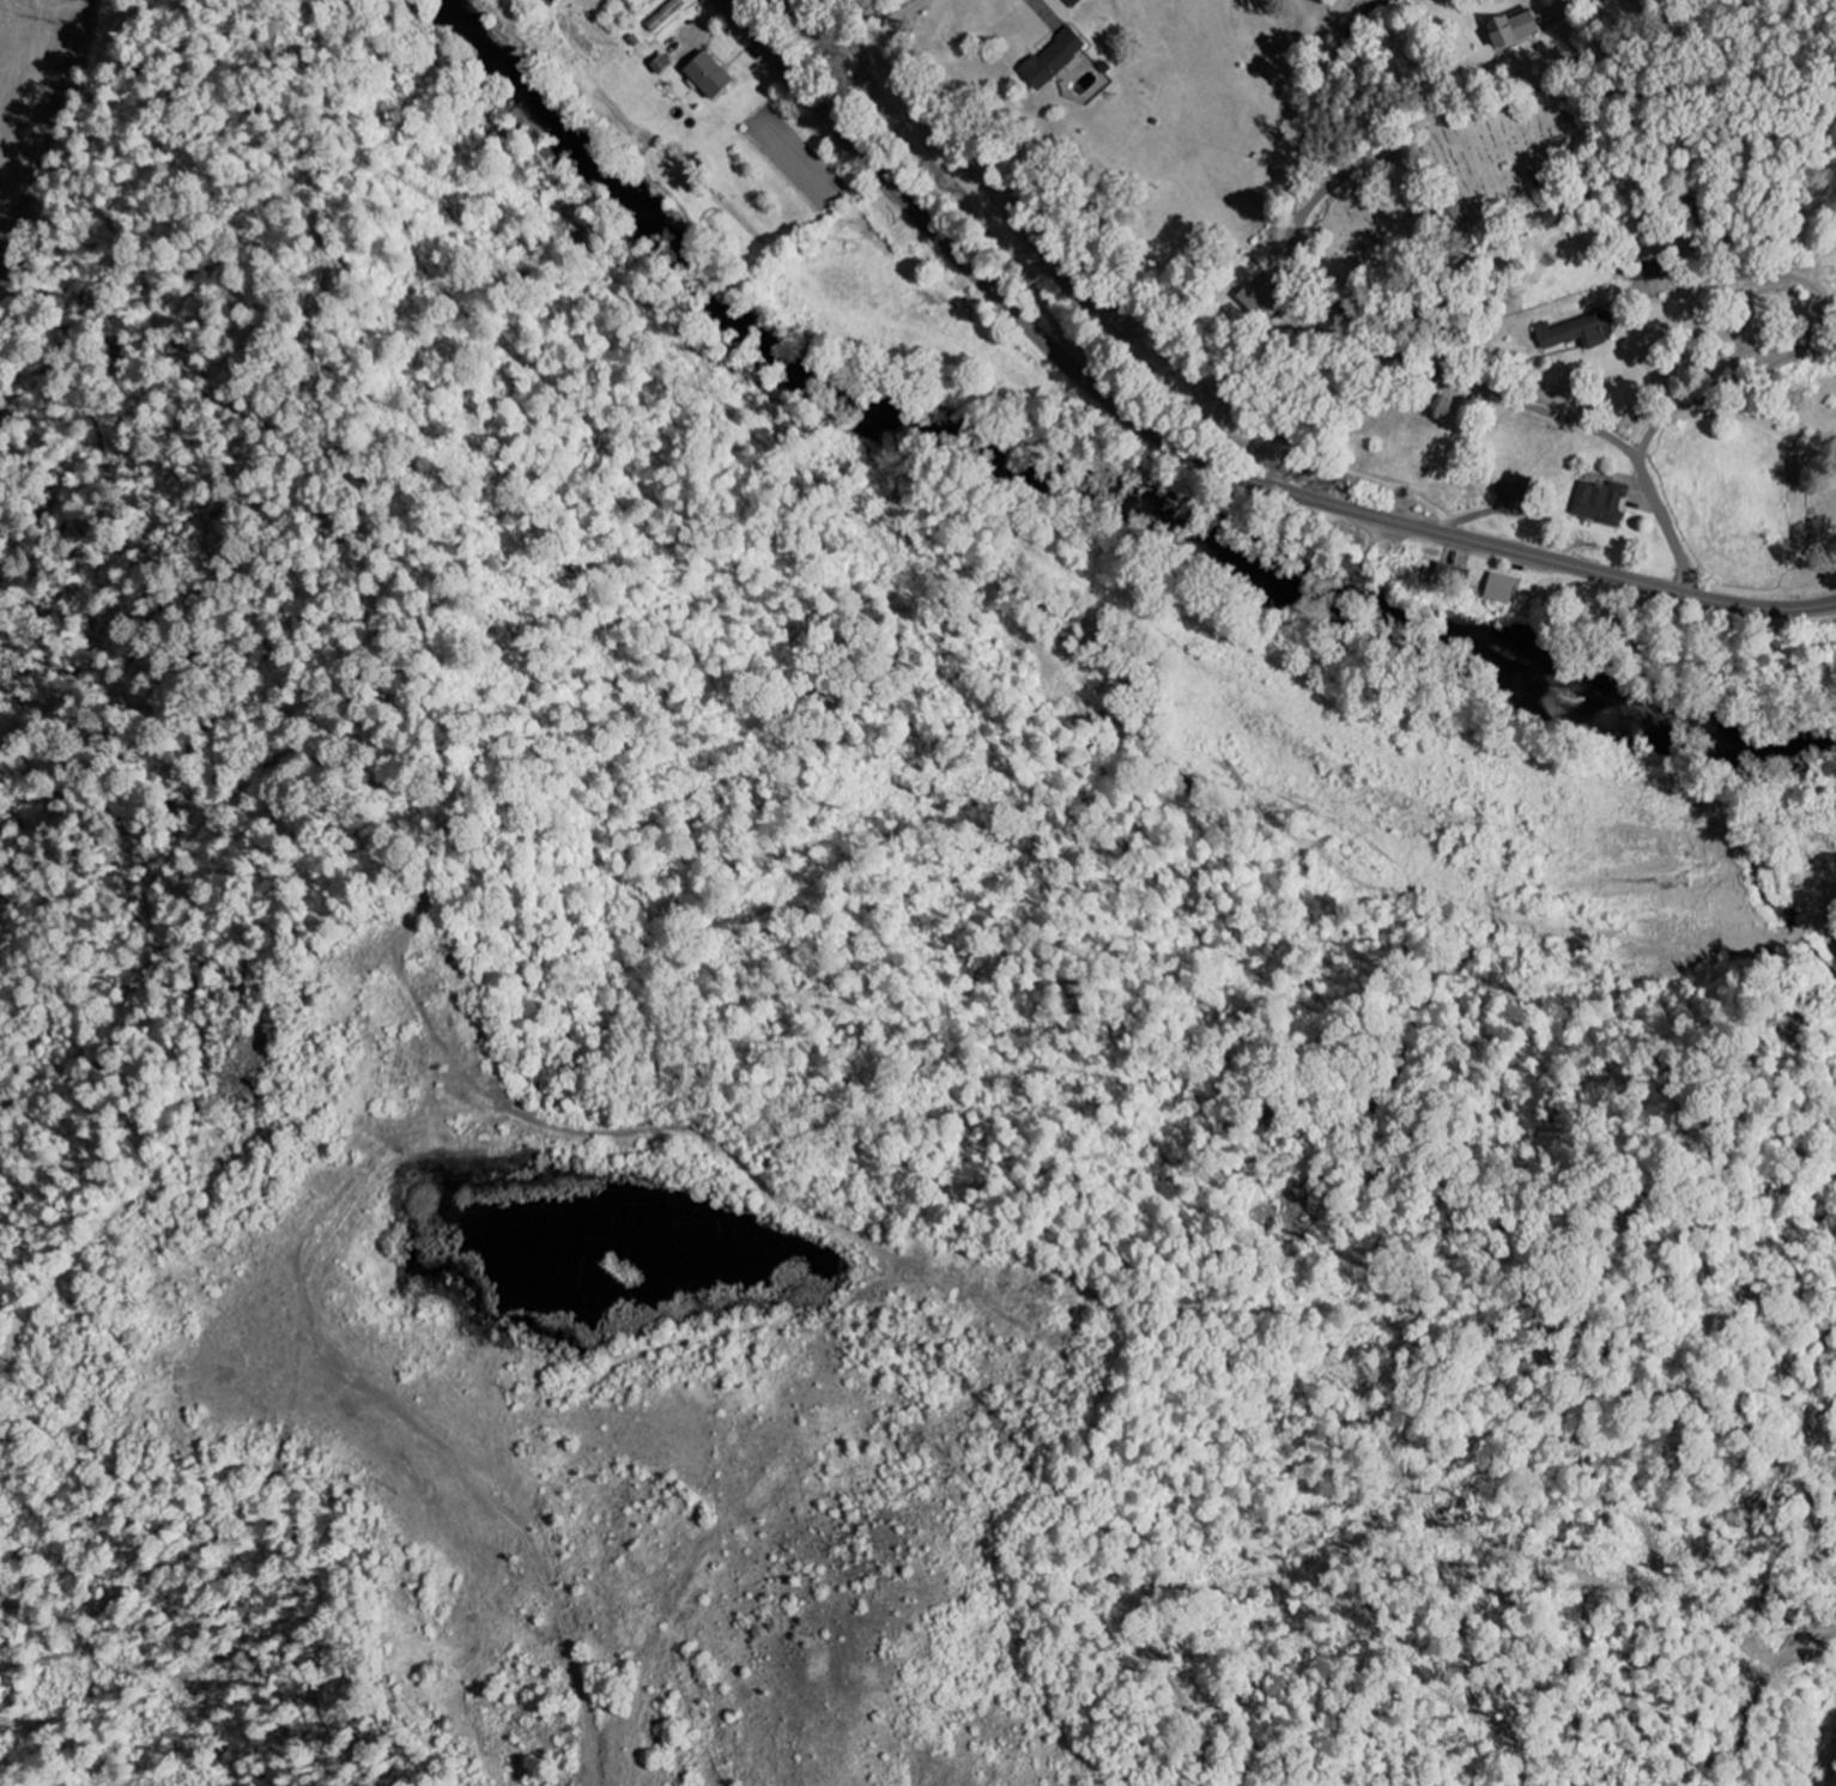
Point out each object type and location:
road: (731, 1)
building: (549, 2)
building: (1073, 2)
building: (666, 14)
building: (1513, 29)
building: (1054, 59)
building: (709, 75)
building: (1649, 271)
road: (1327, 292)
building: (1262, 299)
building: (1576, 333)
road: (1717, 371)
road: (1198, 456)
park: (1822, 478)
building: (1514, 494)
building: (1600, 503)
road: (1662, 513)
building: (1502, 589)
road: (1831, 933)

